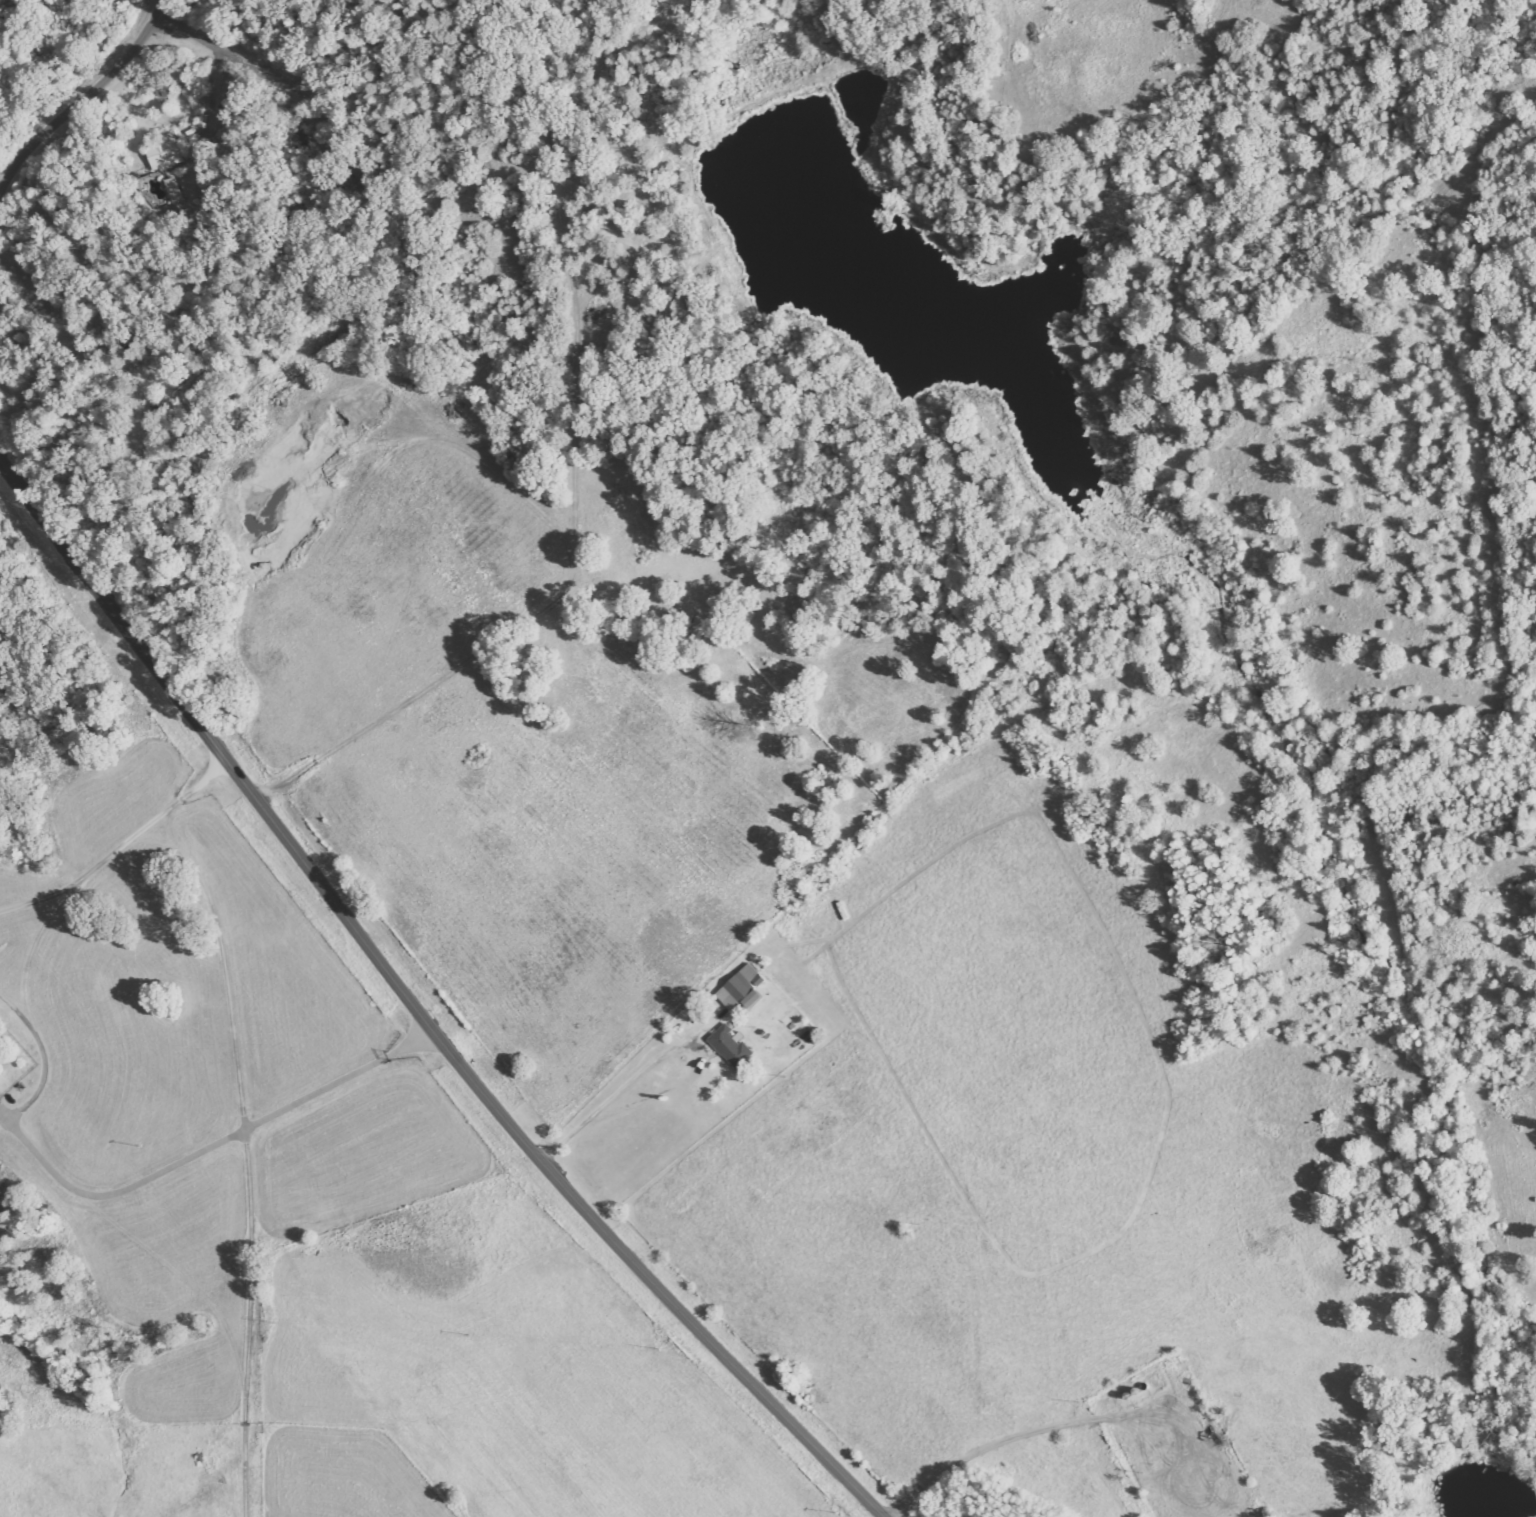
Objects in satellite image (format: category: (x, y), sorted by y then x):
road: (229, 55)
road: (85, 98)
building: (168, 153)
building: (174, 190)
building: (744, 989)
road: (416, 1008)
building: (734, 1047)
road: (208, 1149)
road: (1022, 1290)

